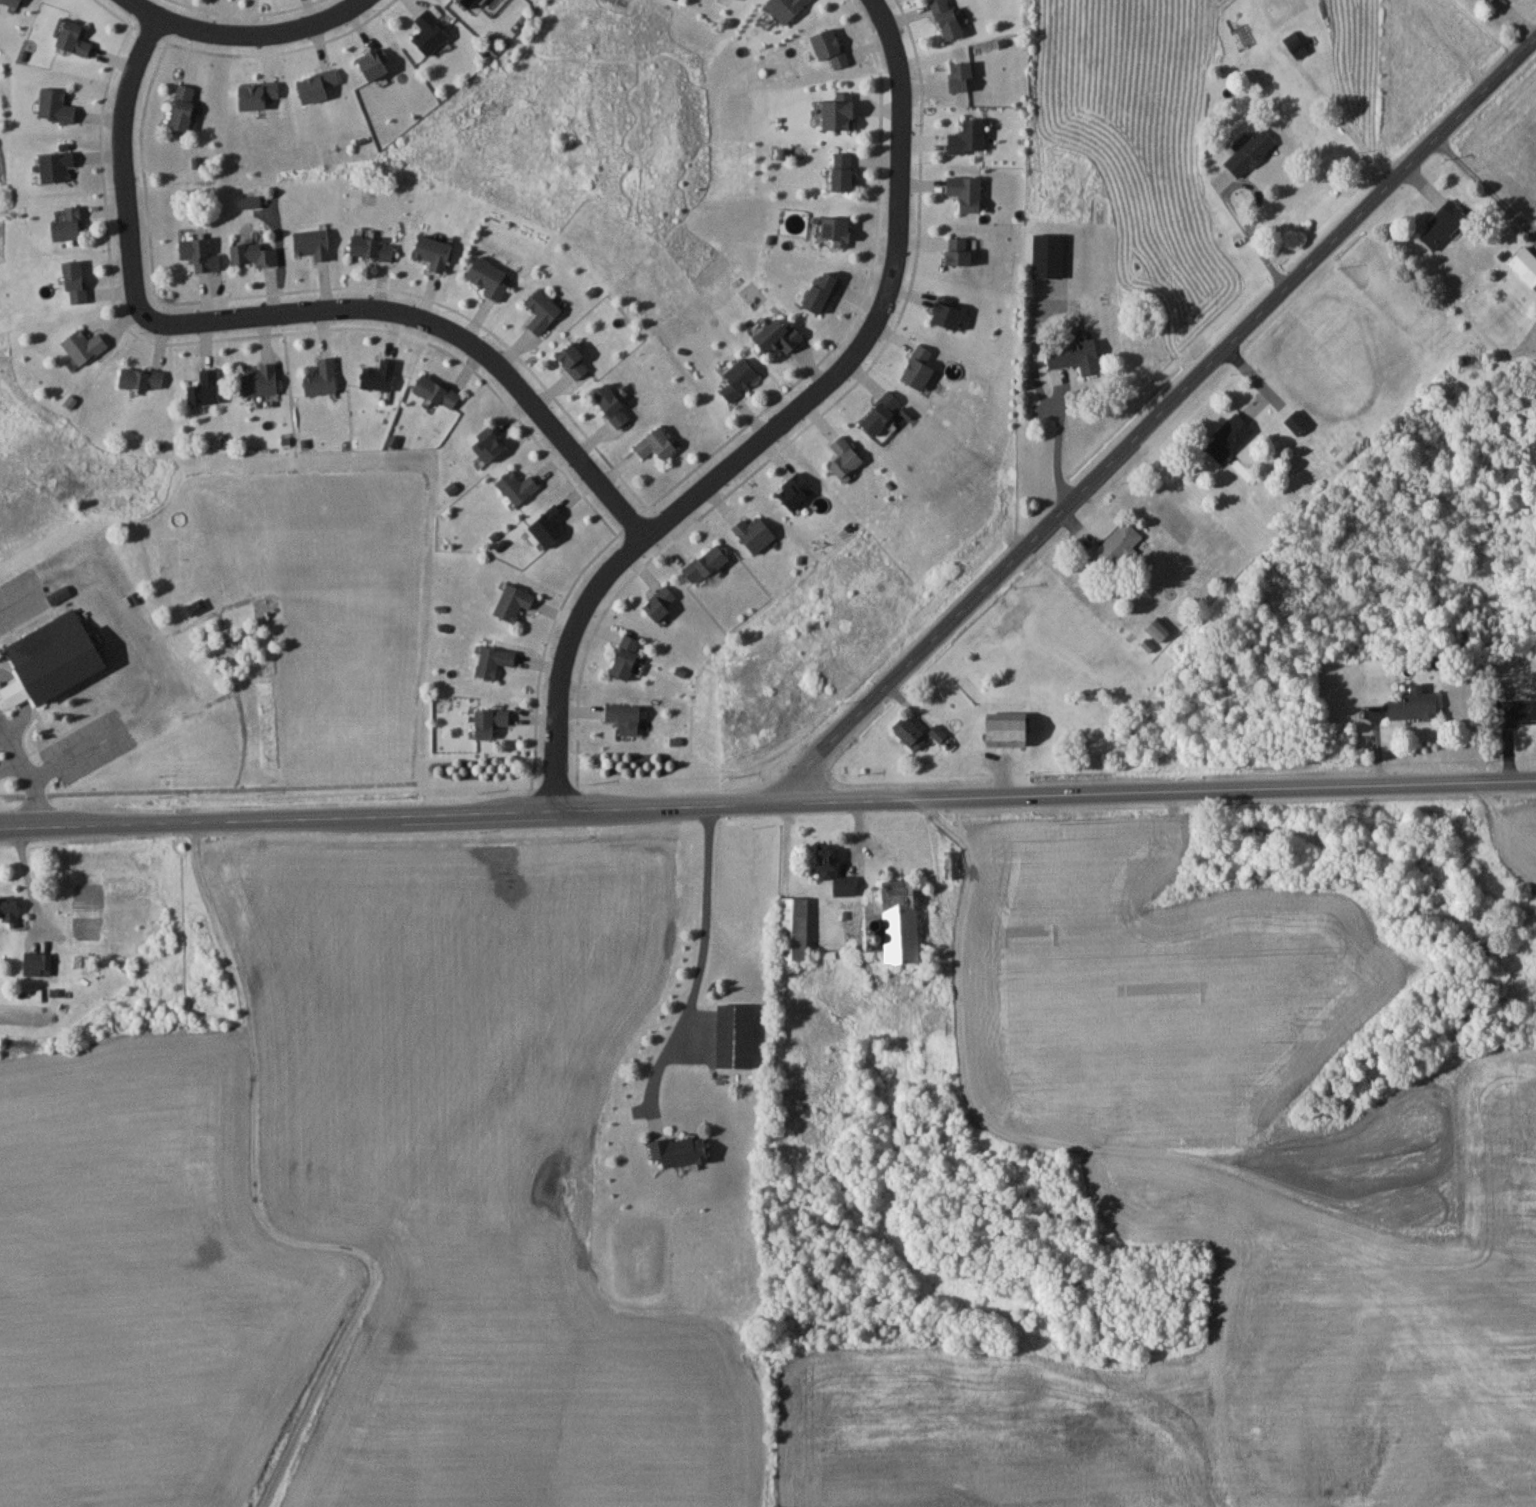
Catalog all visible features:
building: (1491, 0)
building: (14, 2)
building: (467, 3)
building: (787, 8)
building: (949, 19)
building: (431, 32)
road: (245, 37)
building: (74, 38)
building: (1297, 44)
building: (831, 47)
building: (375, 65)
building: (962, 76)
building: (317, 85)
building: (257, 94)
building: (56, 106)
building: (184, 107)
building: (841, 114)
building: (970, 137)
building: (1252, 152)
building: (57, 165)
building: (845, 171)
road: (124, 182)
building: (968, 192)
building: (69, 224)
building: (1444, 225)
building: (834, 229)
road: (1252, 236)
building: (313, 243)
building: (371, 245)
building: (435, 252)
building: (960, 252)
building: (197, 253)
building: (254, 255)
building: (1050, 255)
building: (1526, 265)
building: (489, 277)
building: (76, 280)
building: (824, 291)
building: (543, 310)
building: (949, 315)
building: (779, 336)
road: (454, 339)
building: (85, 346)
building: (1077, 355)
building: (575, 361)
building: (920, 368)
building: (381, 375)
building: (142, 378)
building: (323, 378)
building: (740, 379)
building: (261, 380)
road: (289, 381)
building: (206, 388)
building: (437, 391)
building: (613, 405)
building: (883, 413)
road: (1156, 416)
road: (782, 422)
building: (1298, 422)
building: (1230, 437)
building: (490, 444)
road: (1058, 444)
building: (657, 445)
road: (289, 457)
building: (845, 457)
road: (355, 467)
building: (518, 486)
building: (796, 491)
building: (550, 526)
building: (755, 533)
building: (1118, 546)
building: (707, 564)
road: (23, 595)
parking lot: (23, 596)
building: (515, 602)
building: (661, 604)
road: (208, 616)
road: (271, 618)
road: (137, 630)
building: (1159, 630)
park: (51, 654)
building: (627, 657)
building: (54, 659)
building: (494, 661)
road: (234, 698)
road: (23, 704)
building: (1416, 704)
building: (1517, 711)
road: (185, 716)
building: (625, 718)
building: (491, 722)
building: (1011, 730)
building: (912, 733)
parking lot: (1, 740)
parking lot: (90, 747)
road: (80, 753)
road: (10, 766)
road: (25, 767)
road: (201, 783)
road: (767, 798)
building: (952, 864)
road: (23, 871)
building: (836, 873)
building: (10, 910)
building: (901, 921)
building: (794, 929)
park: (82, 932)
road: (697, 961)
building: (38, 963)
building: (736, 1036)
building: (682, 1152)

